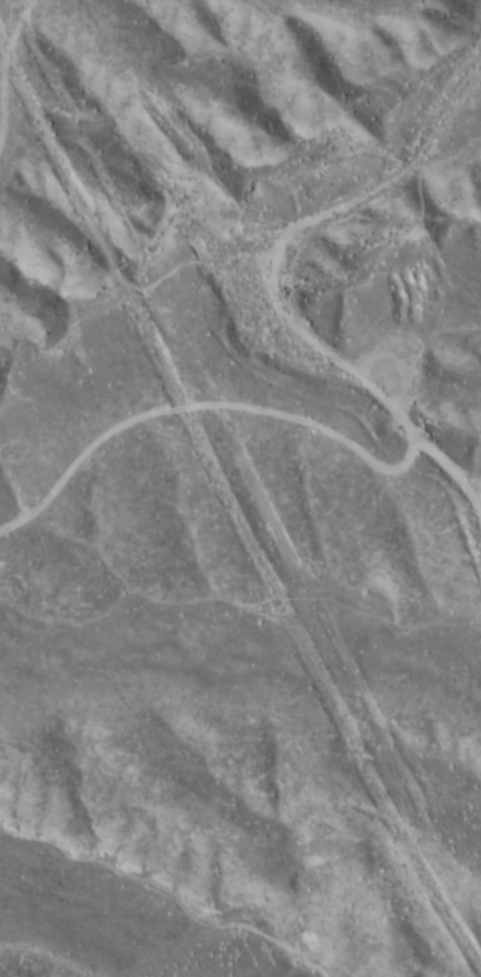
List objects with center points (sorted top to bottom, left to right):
road: (54, 107)
road: (271, 276)
road: (230, 487)
crop: (240, 488)

